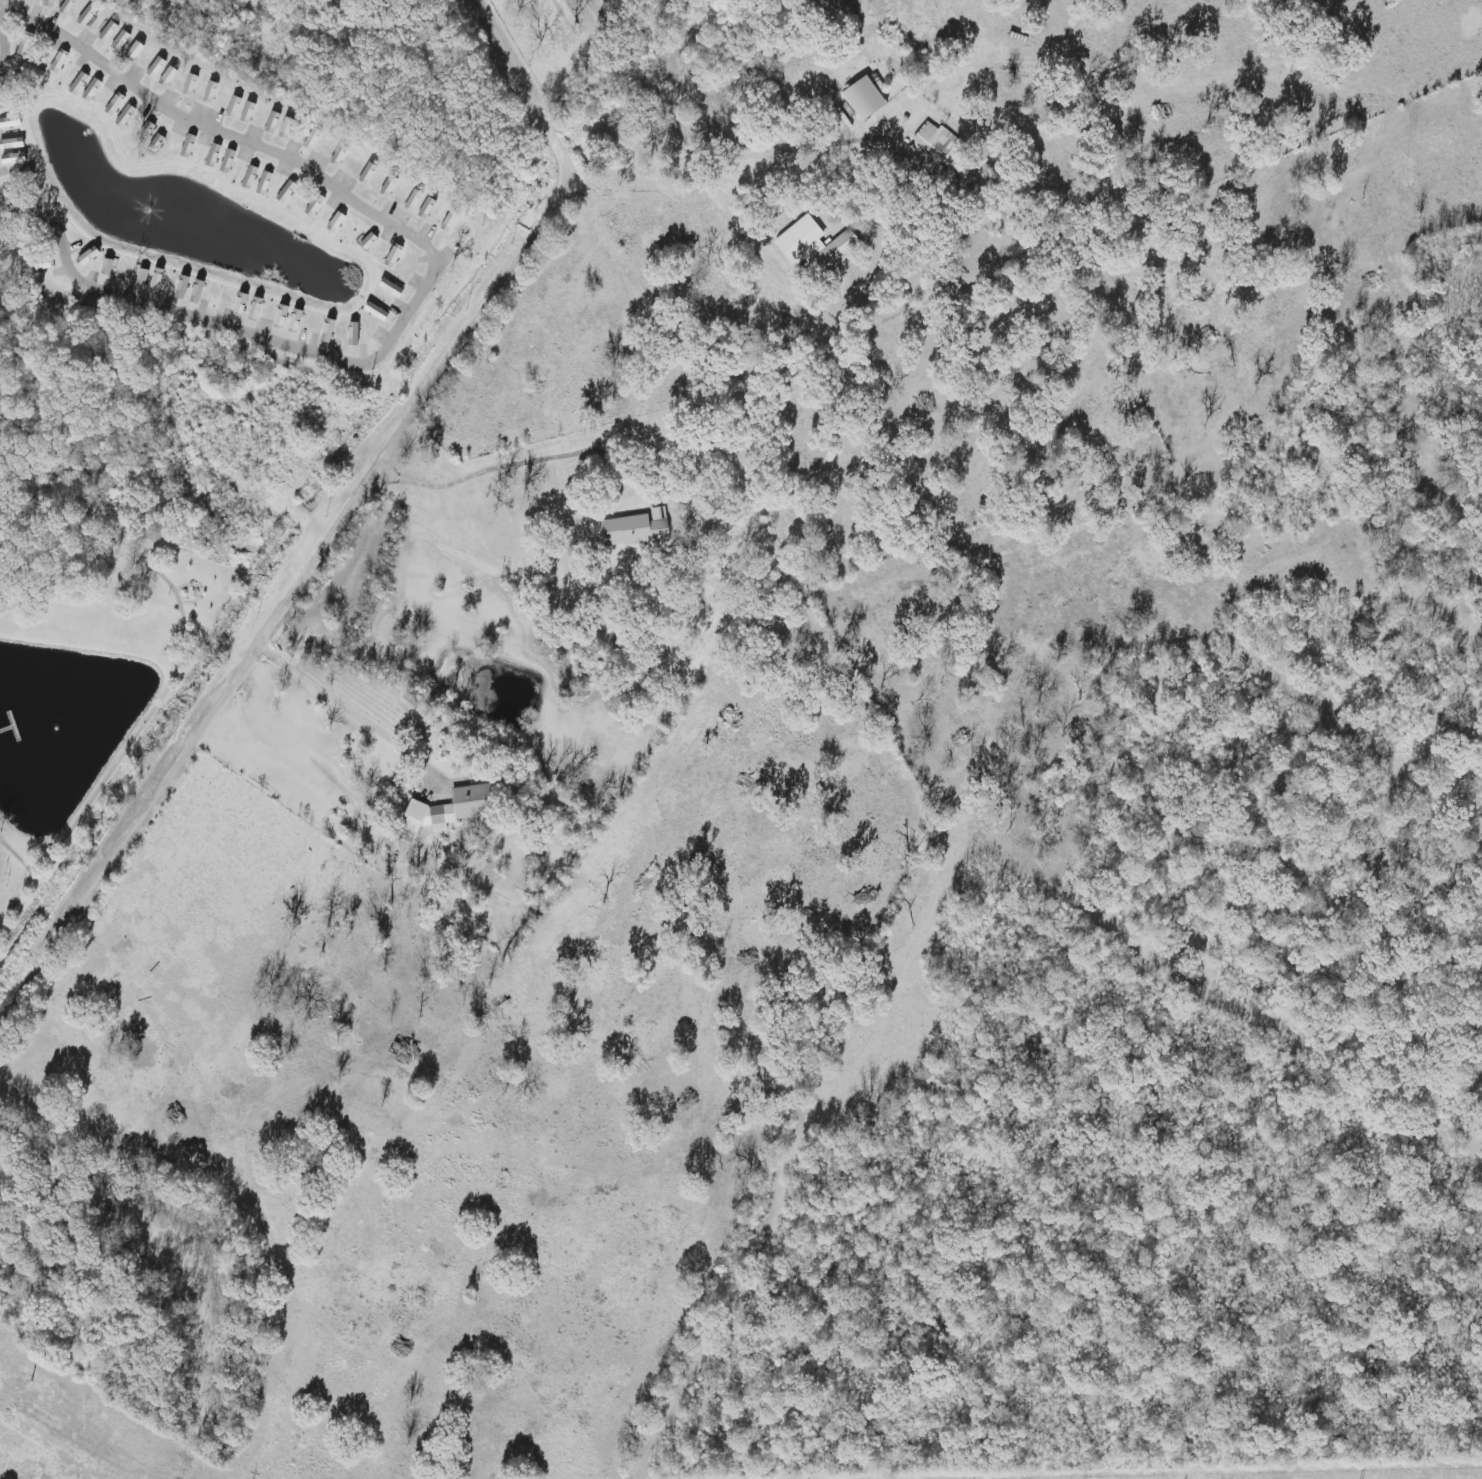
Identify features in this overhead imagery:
building: (48, 3)
building: (66, 7)
building: (85, 16)
building: (106, 32)
building: (119, 41)
building: (24, 45)
building: (134, 50)
building: (58, 62)
building: (155, 68)
building: (31, 72)
building: (167, 77)
building: (77, 84)
building: (189, 85)
building: (91, 90)
building: (209, 92)
building: (865, 99)
building: (114, 105)
building: (232, 107)
building: (247, 113)
building: (124, 116)
building: (9, 122)
building: (271, 123)
building: (285, 128)
building: (147, 129)
building: (311, 139)
building: (156, 142)
building: (11, 144)
building: (187, 146)
building: (941, 147)
road: (729, 154)
building: (338, 155)
building: (212, 156)
building: (13, 159)
building: (227, 161)
building: (367, 174)
building: (249, 178)
building: (263, 184)
building: (387, 186)
building: (286, 192)
building: (412, 201)
building: (314, 206)
building: (425, 209)
building: (448, 222)
building: (335, 223)
building: (368, 242)
building: (814, 246)
building: (392, 256)
building: (87, 257)
building: (105, 267)
road: (432, 275)
building: (141, 278)
building: (155, 280)
building: (391, 288)
building: (239, 306)
building: (376, 312)
building: (280, 317)
building: (327, 331)
building: (352, 335)
road: (505, 465)
road: (346, 524)
building: (636, 529)
road: (350, 704)
building: (449, 810)
power tower: (24, 1378)

